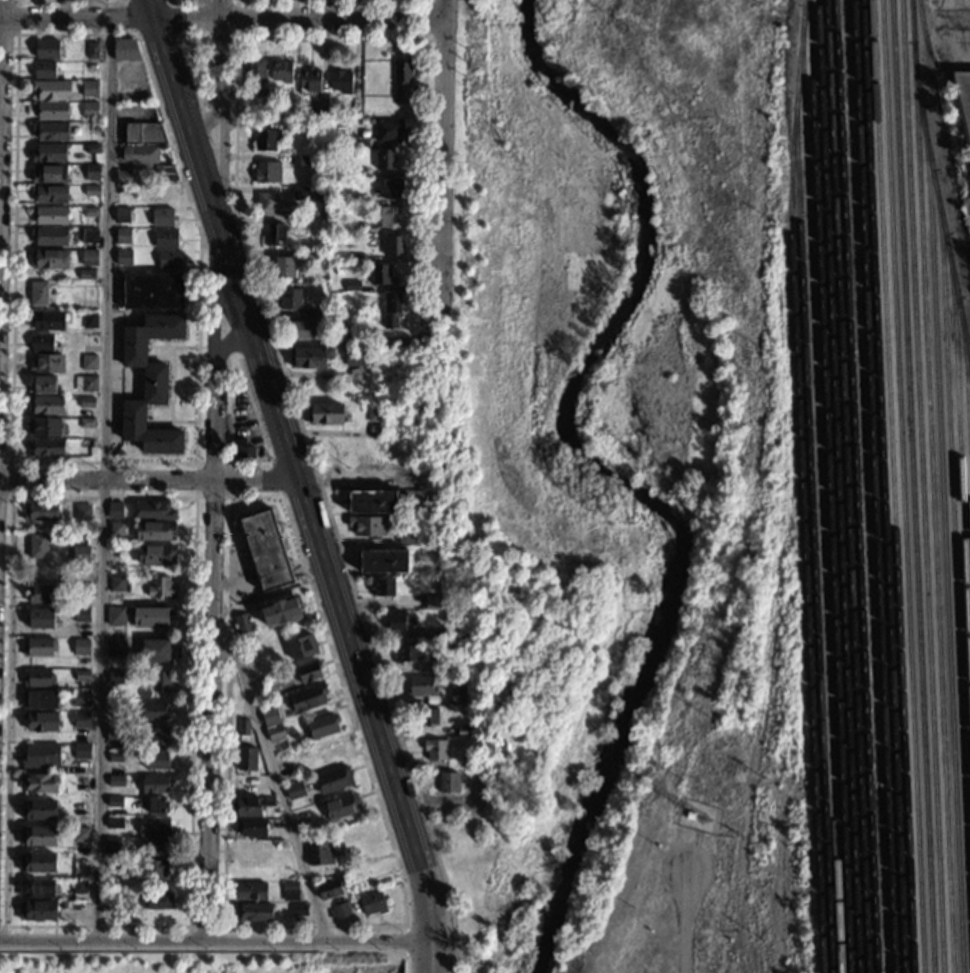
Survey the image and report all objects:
road: (69, 0)
road: (0, 9)
road: (221, 9)
road: (331, 9)
road: (16, 17)
road: (110, 18)
road: (425, 18)
road: (332, 19)
road: (967, 20)
road: (158, 36)
road: (220, 38)
building: (47, 49)
building: (92, 50)
building: (125, 50)
building: (43, 70)
building: (372, 70)
building: (280, 71)
building: (255, 76)
building: (308, 81)
building: (401, 81)
building: (340, 82)
building: (51, 89)
building: (92, 89)
road: (197, 97)
building: (963, 105)
building: (347, 107)
building: (366, 109)
building: (49, 110)
building: (89, 110)
building: (317, 112)
building: (286, 114)
road: (206, 123)
building: (92, 128)
building: (296, 128)
building: (388, 130)
building: (50, 131)
building: (143, 133)
building: (265, 140)
building: (360, 142)
building: (92, 149)
building: (49, 153)
building: (140, 154)
road: (442, 156)
building: (383, 159)
building: (299, 161)
building: (267, 171)
building: (358, 171)
building: (92, 172)
building: (164, 172)
building: (48, 174)
building: (123, 178)
building: (390, 187)
building: (90, 191)
building: (307, 193)
building: (50, 194)
building: (120, 194)
building: (164, 195)
building: (356, 200)
railway: (938, 202)
building: (270, 205)
building: (89, 212)
building: (121, 215)
building: (51, 216)
building: (162, 217)
building: (379, 217)
building: (297, 227)
building: (354, 227)
building: (89, 235)
building: (274, 235)
building: (123, 236)
building: (51, 237)
building: (165, 238)
building: (391, 244)
road: (224, 255)
building: (309, 255)
building: (88, 257)
building: (356, 257)
building: (123, 258)
building: (49, 259)
building: (168, 260)
building: (284, 267)
building: (86, 274)
building: (379, 274)
road: (256, 275)
building: (351, 286)
building: (152, 291)
building: (38, 293)
building: (290, 299)
building: (87, 305)
building: (390, 310)
building: (313, 313)
building: (49, 320)
building: (89, 320)
building: (303, 330)
road: (422, 334)
building: (87, 339)
building: (346, 340)
building: (379, 341)
road: (229, 342)
building: (42, 343)
road: (163, 343)
road: (171, 347)
building: (309, 358)
building: (357, 358)
building: (88, 362)
building: (47, 363)
road: (230, 371)
railway: (966, 374)
building: (84, 383)
building: (43, 384)
road: (171, 384)
road: (181, 384)
building: (149, 385)
building: (87, 403)
building: (45, 406)
building: (420, 408)
building: (324, 413)
building: (374, 413)
road: (170, 421)
building: (86, 423)
road: (162, 426)
building: (44, 427)
park: (594, 430)
road: (282, 435)
building: (87, 444)
building: (46, 448)
building: (241, 450)
road: (47, 462)
river: (599, 473)
road: (366, 476)
railway: (959, 477)
road: (10, 478)
road: (103, 479)
road: (275, 479)
road: (213, 480)
road: (149, 481)
railway: (800, 486)
railway: (828, 486)
railway: (836, 486)
railway: (846, 486)
railway: (855, 486)
railway: (872, 486)
railway: (882, 486)
railway: (892, 486)
railway: (902, 486)
railway: (912, 486)
railway: (921, 486)
railway: (932, 486)
railway: (818, 489)
road: (193, 496)
road: (228, 497)
building: (420, 499)
building: (372, 501)
building: (115, 510)
building: (41, 511)
building: (153, 511)
building: (81, 512)
building: (366, 525)
building: (116, 529)
building: (154, 531)
railway: (812, 534)
building: (81, 535)
building: (407, 535)
railway: (954, 535)
railway: (944, 539)
building: (38, 546)
building: (265, 551)
road: (228, 553)
building: (80, 554)
building: (155, 554)
building: (384, 561)
building: (39, 573)
building: (118, 584)
building: (160, 587)
building: (385, 587)
building: (84, 591)
building: (43, 594)
building: (433, 602)
building: (280, 612)
building: (80, 614)
building: (114, 616)
building: (151, 616)
building: (40, 618)
building: (399, 620)
building: (243, 624)
building: (38, 647)
building: (81, 647)
building: (115, 648)
building: (301, 648)
building: (155, 651)
building: (408, 653)
building: (445, 665)
building: (309, 672)
building: (82, 677)
building: (117, 677)
building: (38, 679)
building: (160, 682)
building: (420, 686)
building: (81, 698)
building: (306, 698)
building: (457, 698)
building: (40, 700)
building: (116, 709)
building: (154, 712)
building: (428, 715)
building: (269, 717)
building: (81, 720)
building: (41, 722)
building: (242, 727)
building: (321, 727)
building: (464, 731)
building: (112, 734)
building: (275, 734)
building: (160, 736)
building: (435, 749)
building: (81, 752)
building: (326, 755)
building: (41, 756)
building: (115, 757)
building: (246, 758)
building: (155, 760)
building: (467, 760)
building: (284, 761)
road: (274, 776)
building: (116, 781)
building: (334, 781)
building: (448, 782)
building: (39, 783)
building: (81, 784)
building: (154, 785)
building: (295, 790)
building: (114, 801)
building: (268, 803)
building: (156, 805)
building: (342, 806)
building: (245, 808)
building: (81, 809)
building: (39, 810)
building: (690, 814)
building: (114, 823)
building: (153, 827)
building: (250, 828)
building: (81, 835)
building: (38, 836)
building: (111, 845)
building: (156, 847)
building: (246, 852)
building: (319, 853)
building: (38, 863)
building: (114, 865)
building: (152, 870)
building: (287, 875)
building: (79, 886)
building: (330, 888)
building: (36, 889)
building: (289, 891)
building: (251, 892)
building: (112, 900)
building: (156, 901)
building: (372, 903)
road: (427, 906)
building: (71, 907)
building: (299, 908)
building: (37, 911)
building: (342, 911)
building: (254, 912)
road: (683, 922)
road: (1, 926)
road: (204, 926)
road: (406, 941)
road: (214, 943)
road: (429, 950)
park: (200, 960)
road: (405, 964)
road: (428, 965)
road: (454, 966)

